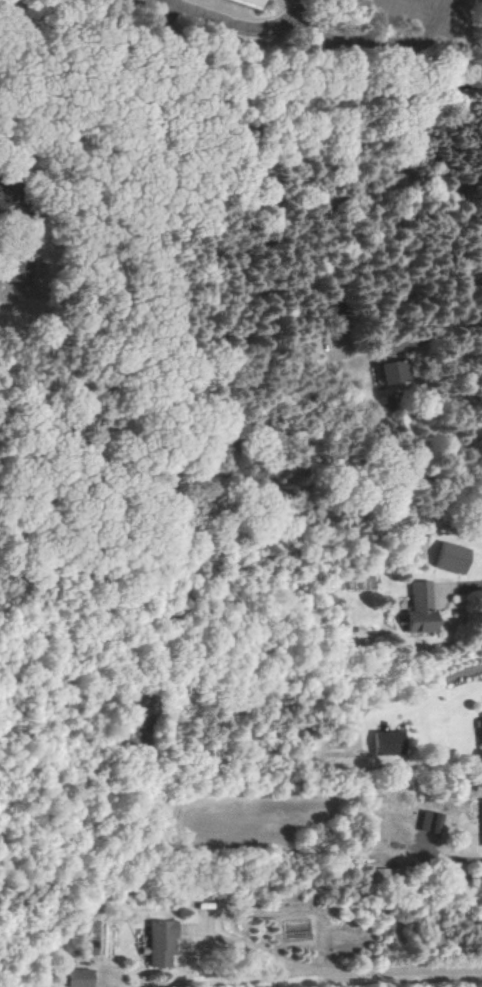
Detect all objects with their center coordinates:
building: (244, 2)
road: (422, 6)
road: (368, 46)
road: (248, 89)
building: (3, 199)
building: (392, 372)
building: (450, 558)
building: (417, 610)
building: (478, 731)
building: (383, 743)
building: (480, 815)
building: (427, 822)
building: (379, 874)
building: (158, 944)
road: (261, 952)
road: (313, 973)
building: (77, 978)
road: (120, 985)

